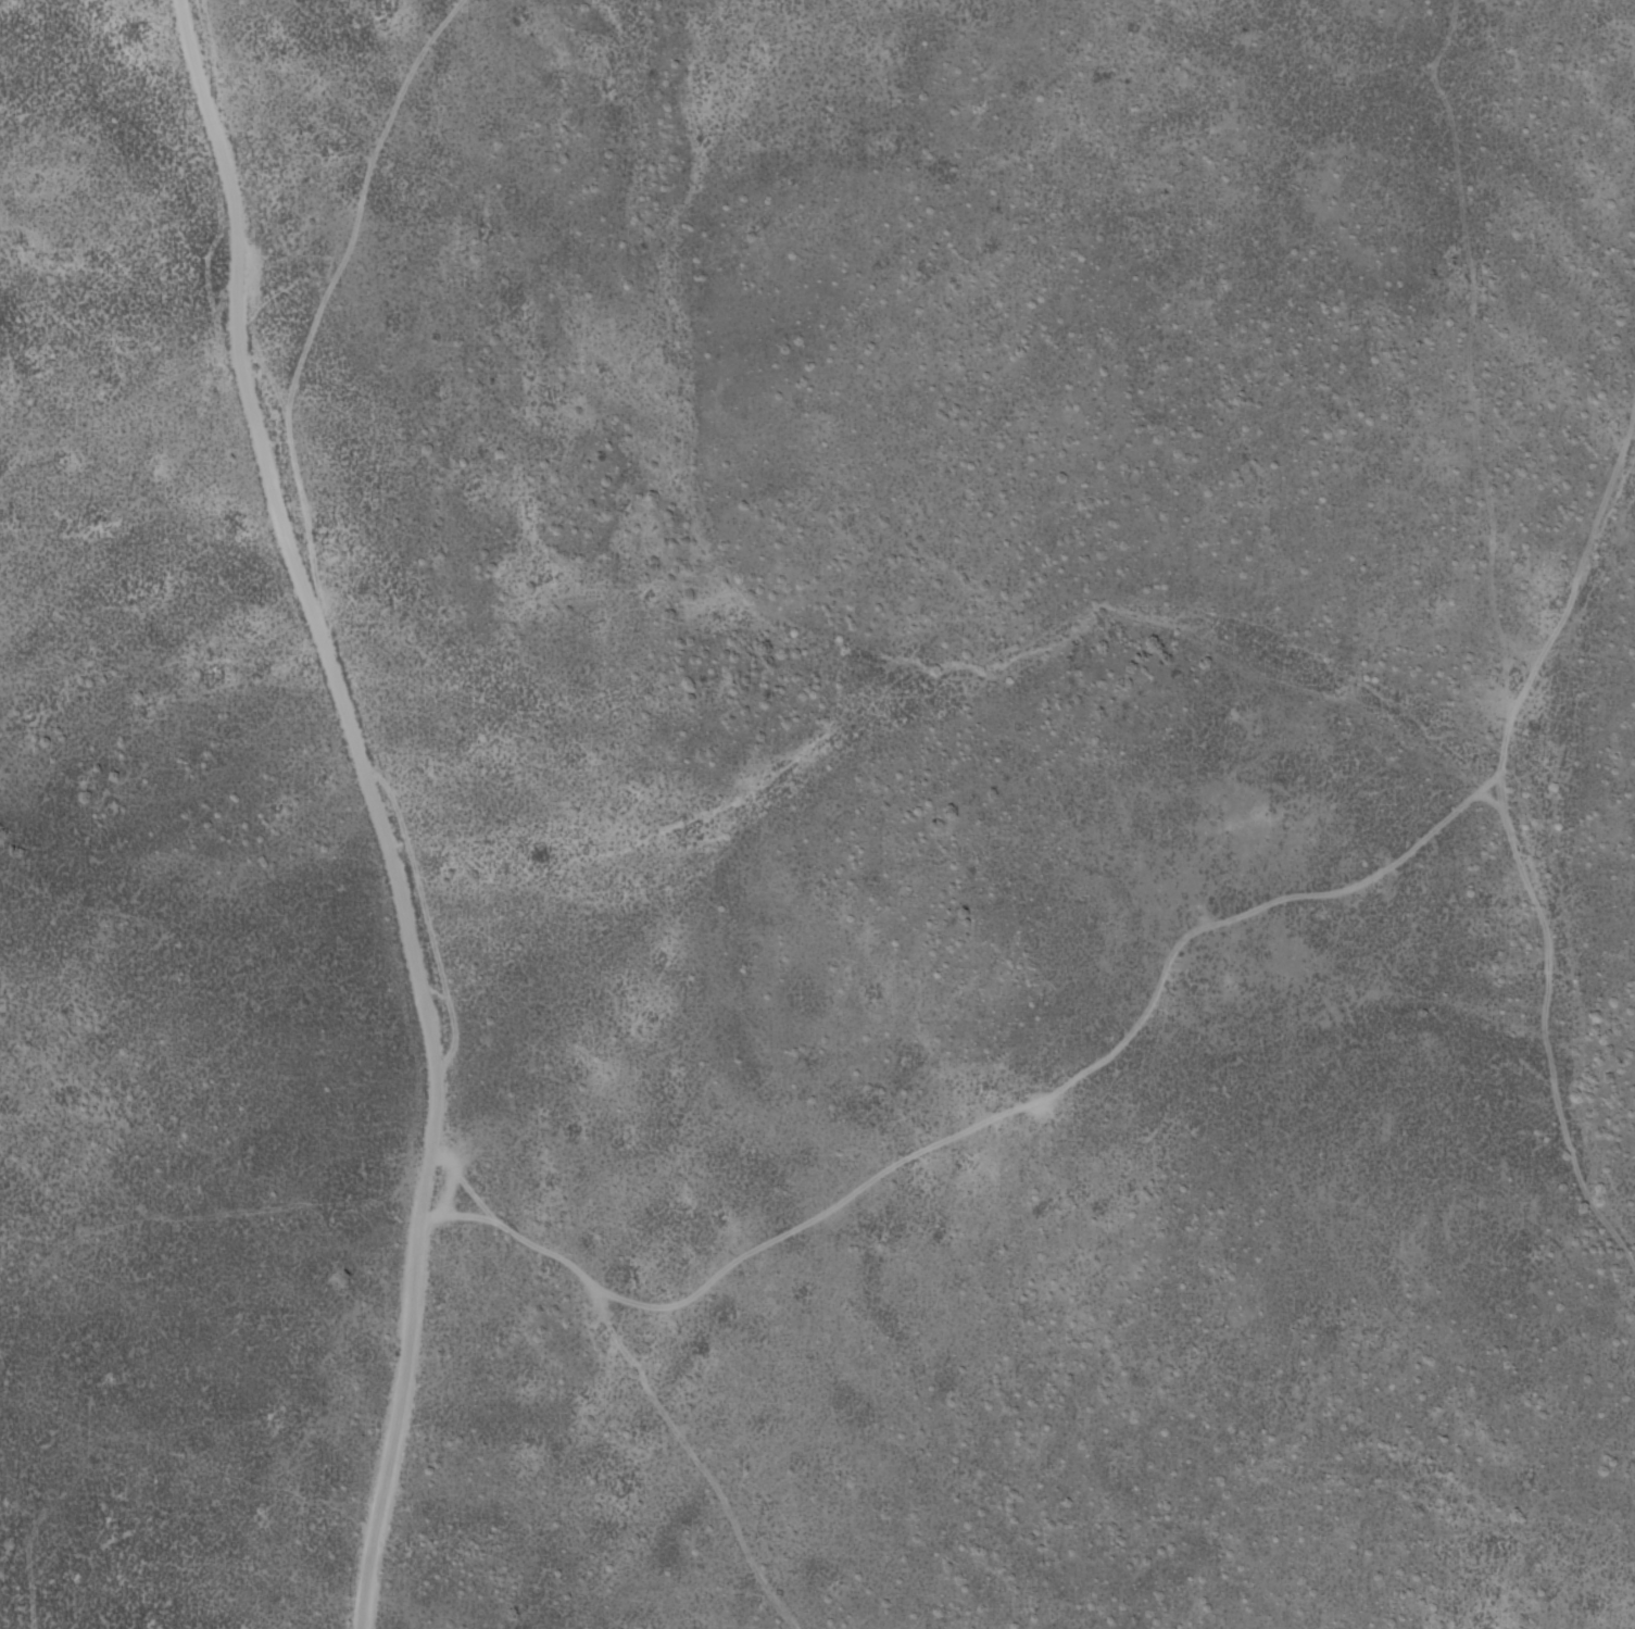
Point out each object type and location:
road: (224, 297)
road: (1520, 813)
road: (405, 860)
road: (431, 1378)

